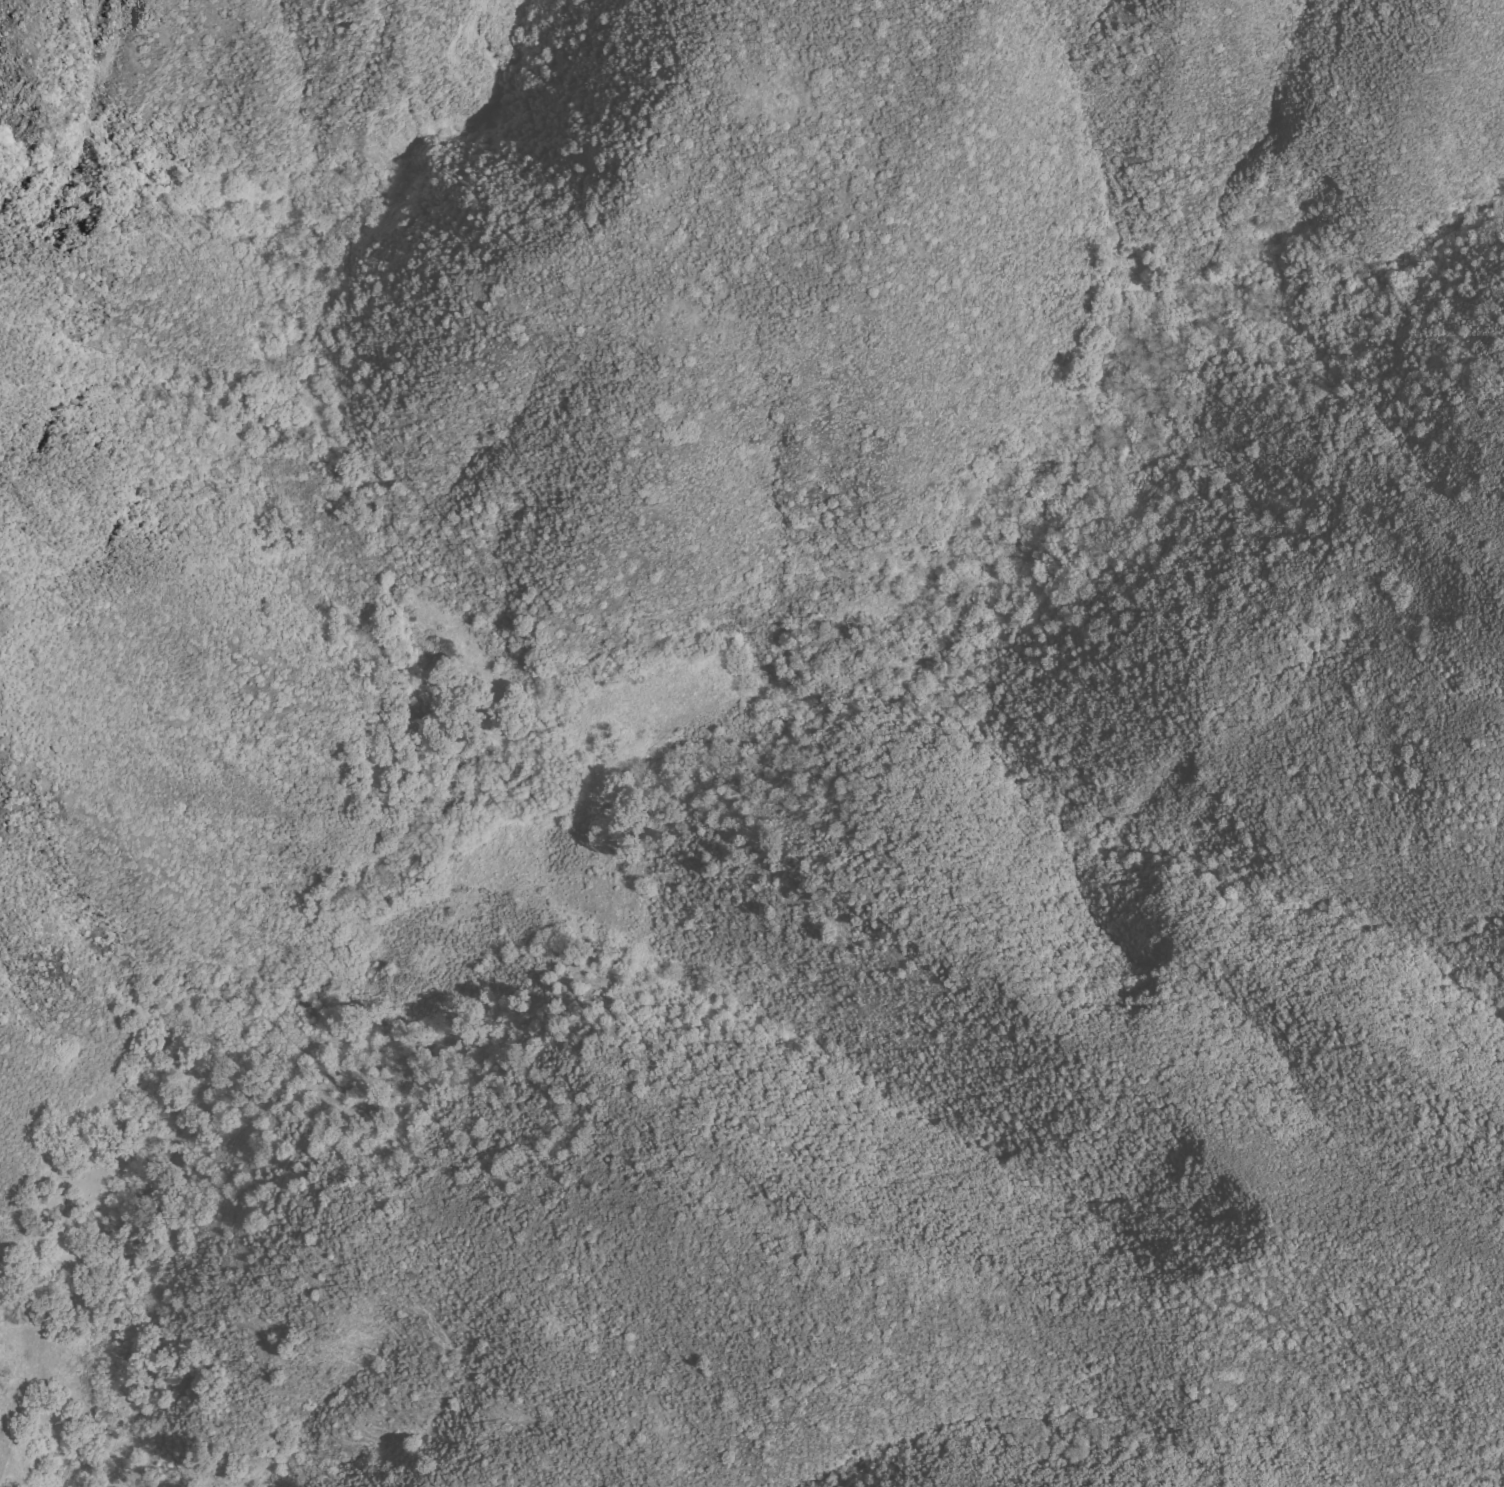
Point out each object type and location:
road: (286, 1007)
road: (10, 1350)

